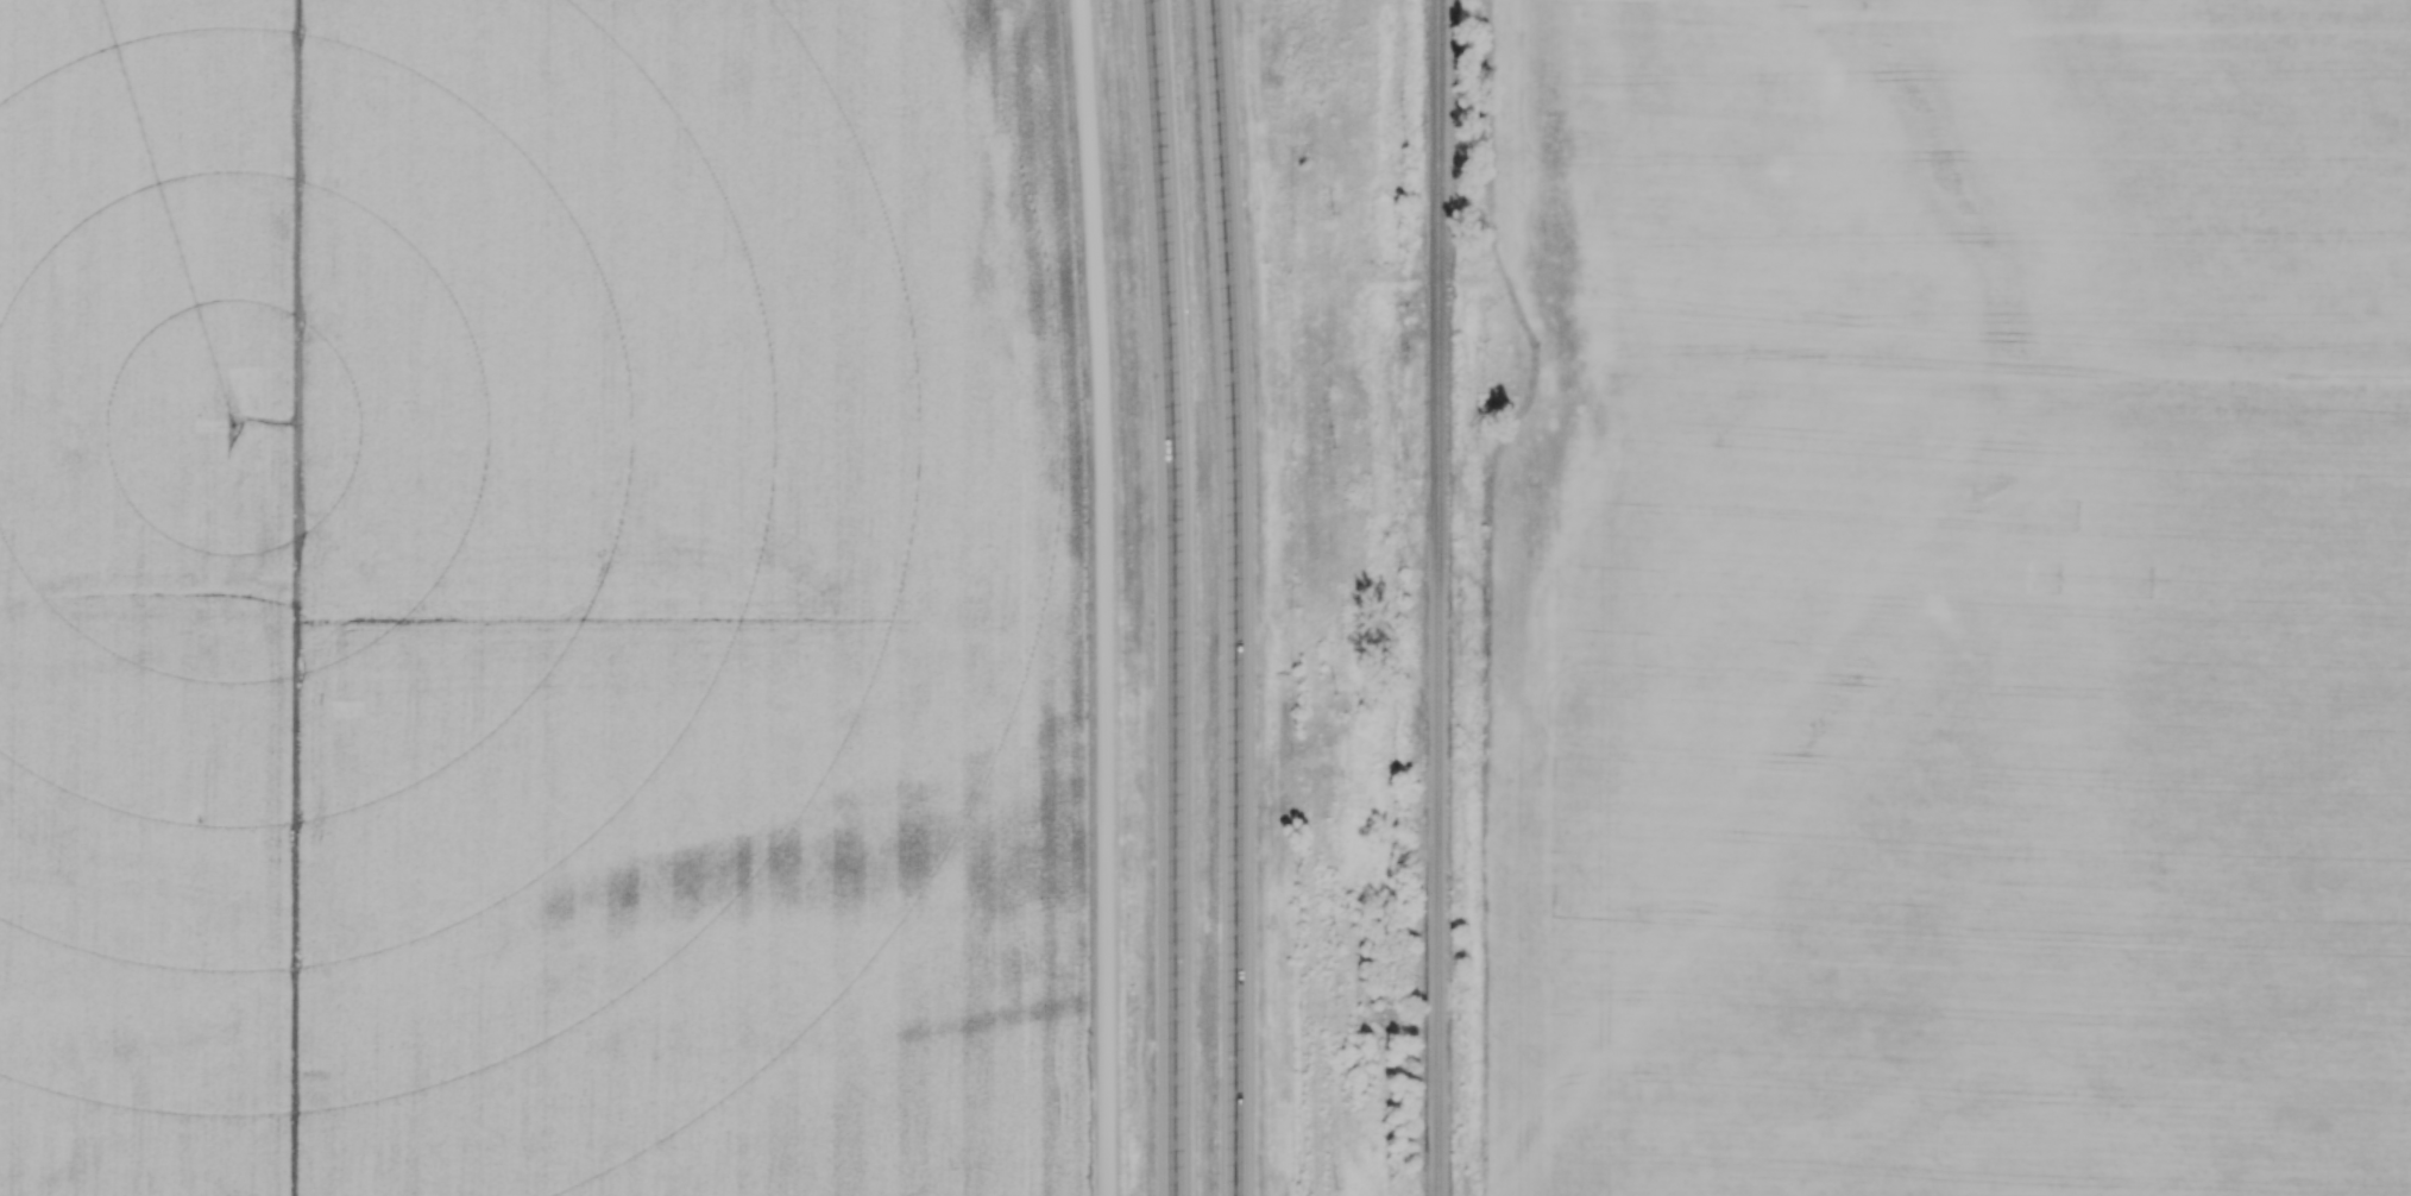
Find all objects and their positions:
road: (1104, 597)
road: (1173, 597)
road: (1235, 597)
railway: (1437, 598)

